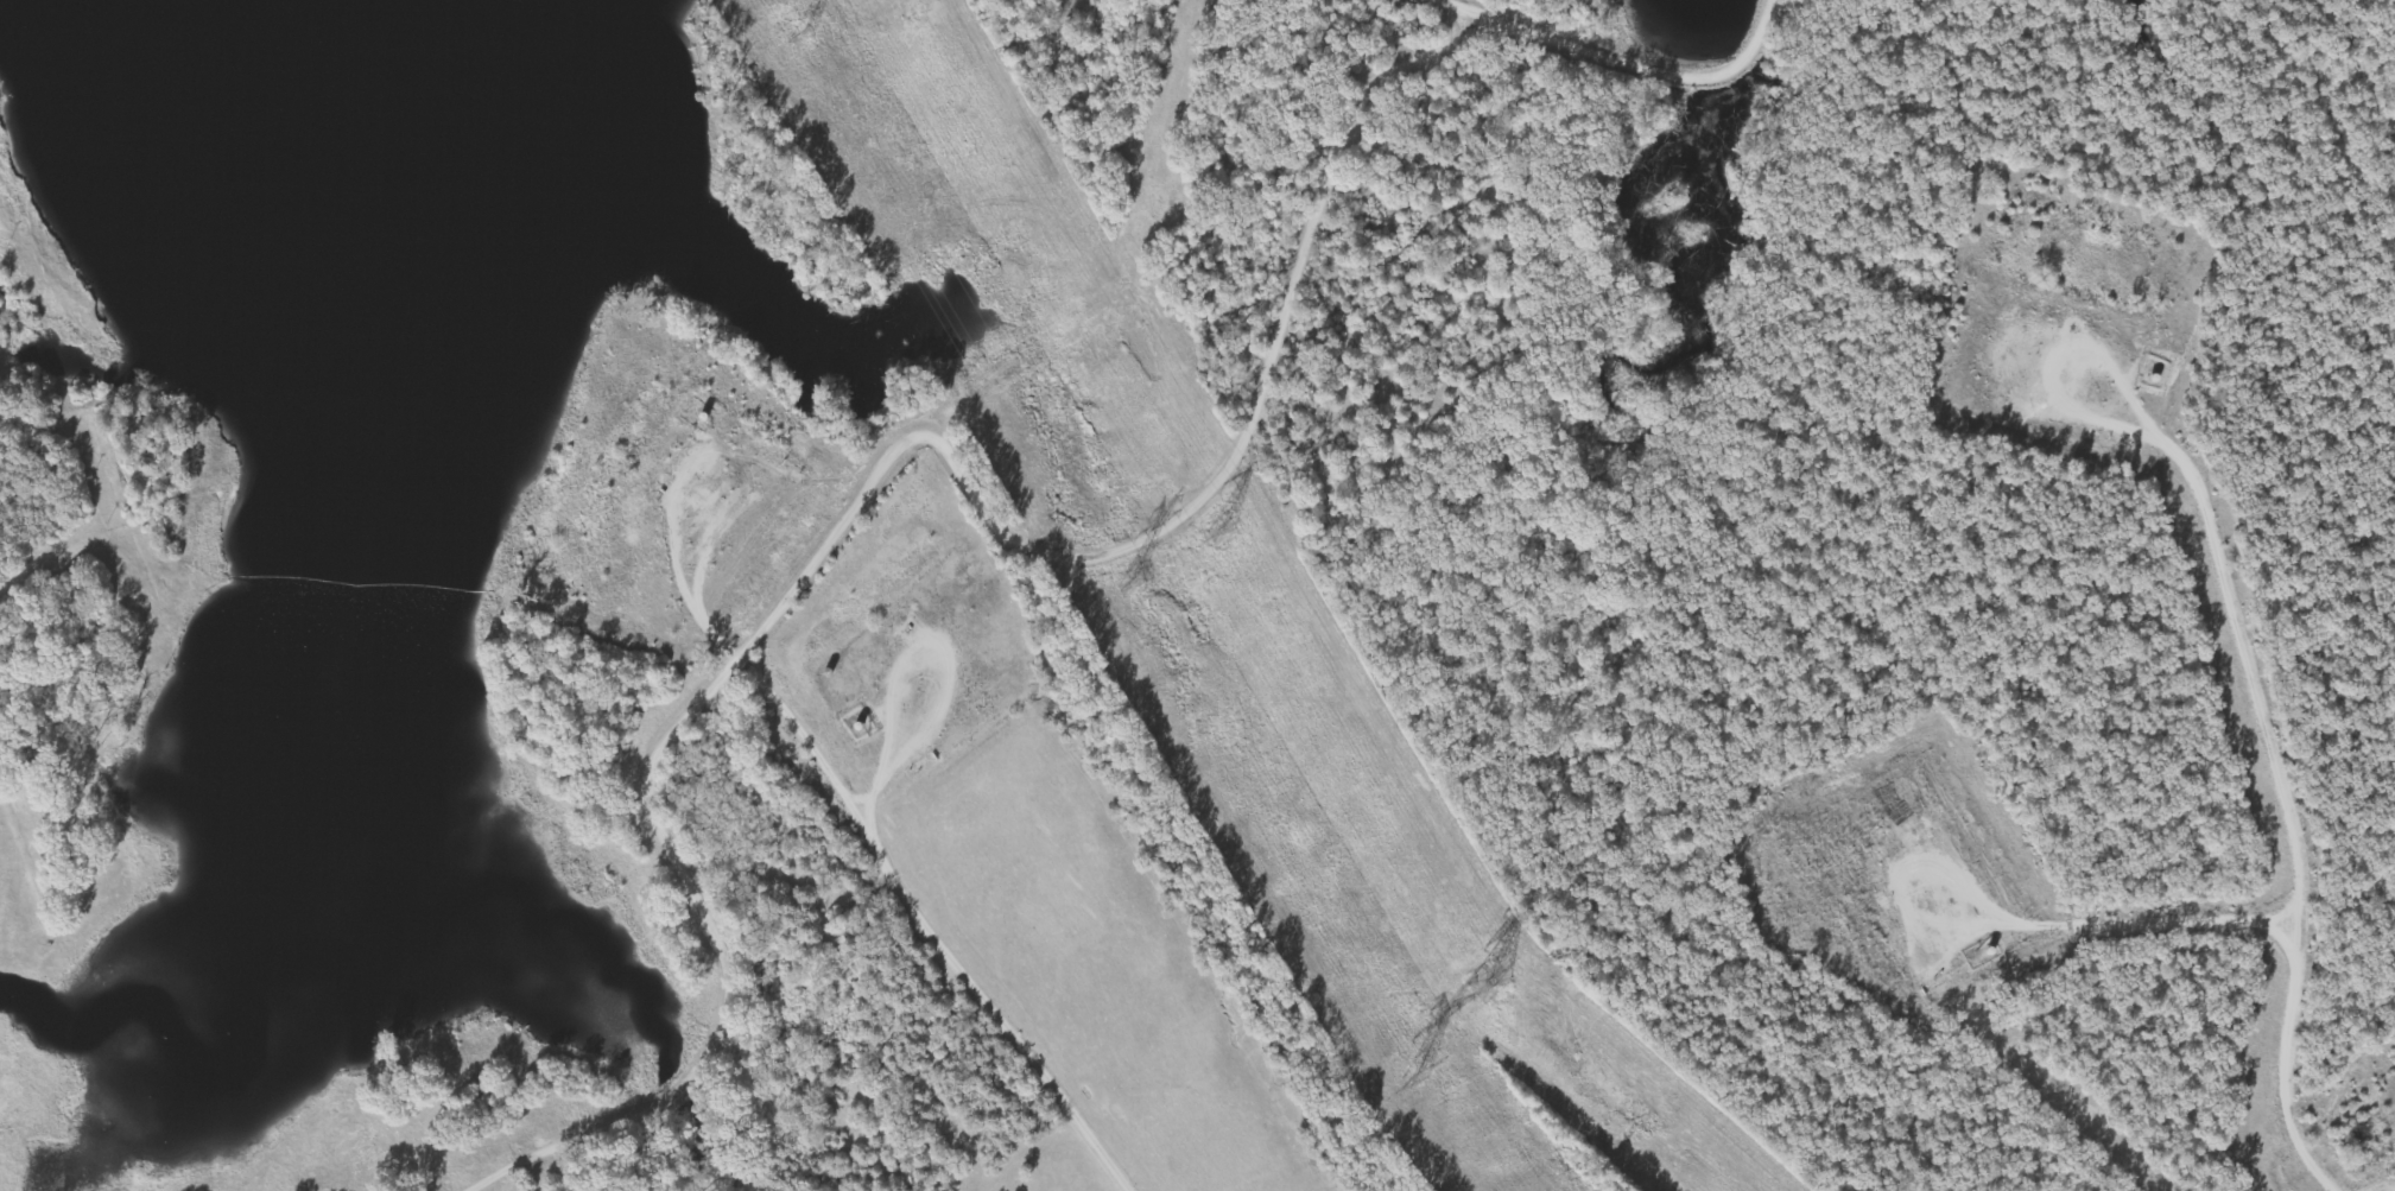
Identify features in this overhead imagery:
power tower: (791, 36)
power tower: (1211, 534)
road: (1721, 544)
power tower: (1116, 588)
power plant: (11, 697)
power tower: (1482, 980)
power tower: (1406, 1076)

